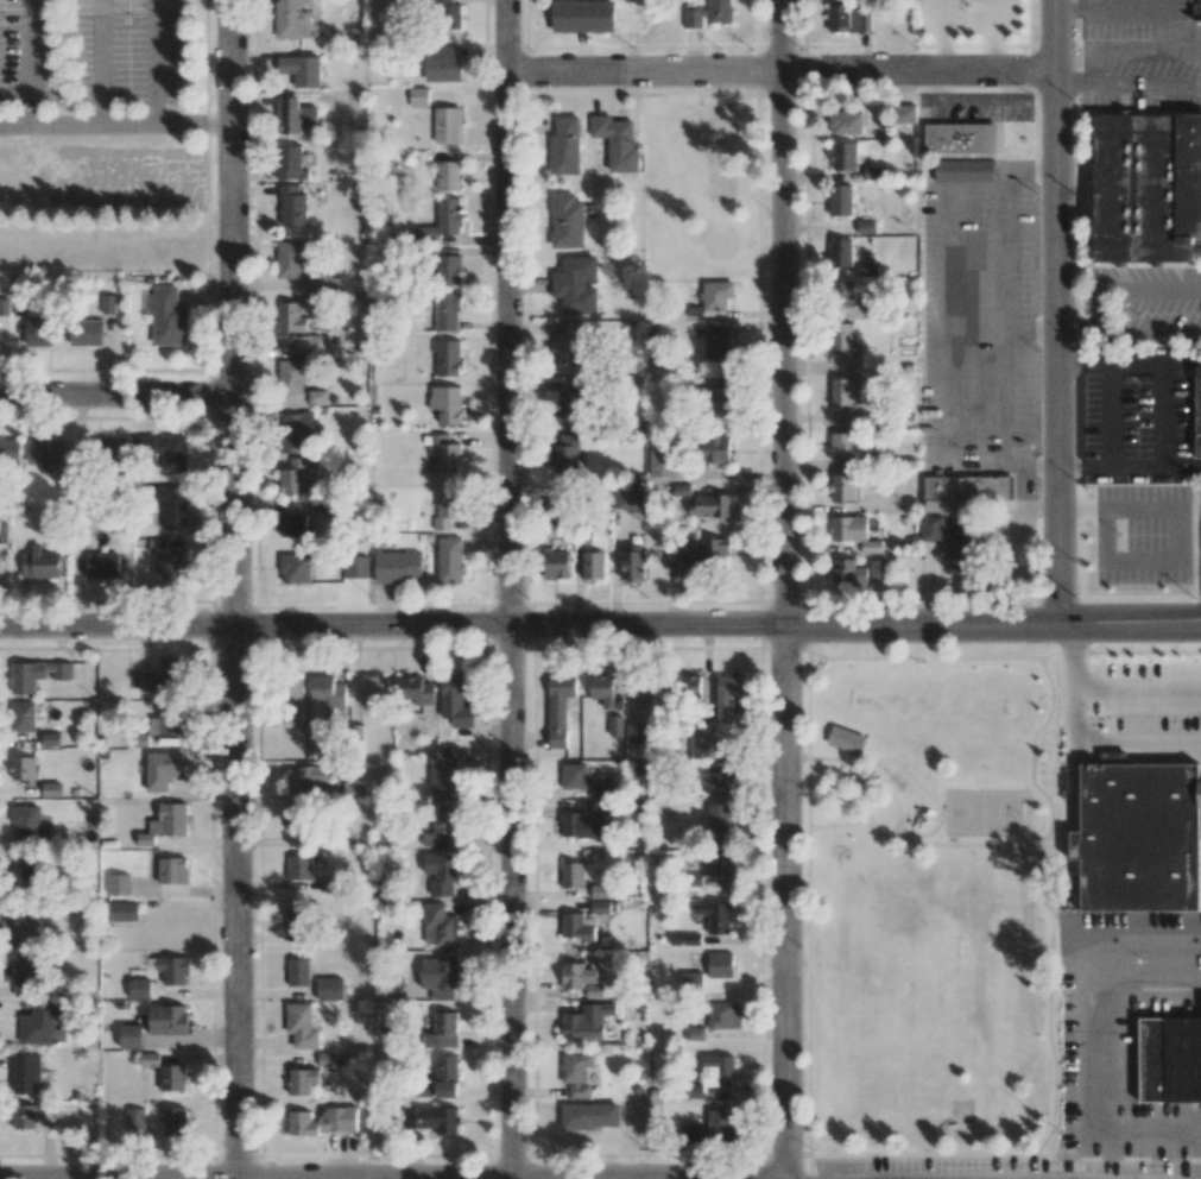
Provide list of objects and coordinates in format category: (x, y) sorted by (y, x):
road: (1117, 10)
building: (1196, 11)
building: (448, 14)
building: (709, 14)
building: (583, 17)
building: (293, 18)
building: (847, 18)
road: (1170, 30)
road: (943, 34)
road: (991, 34)
parking lot: (127, 50)
road: (1149, 51)
parking lot: (29, 52)
road: (30, 62)
road: (100, 62)
road: (156, 62)
building: (442, 64)
building: (302, 70)
road: (778, 70)
road: (1089, 83)
road: (1148, 83)
building: (418, 96)
building: (904, 114)
building: (293, 115)
building: (846, 122)
road: (116, 124)
building: (447, 125)
building: (962, 138)
building: (617, 141)
building: (565, 146)
building: (843, 156)
building: (291, 163)
road: (1030, 168)
building: (967, 171)
building: (874, 172)
building: (448, 176)
building: (1149, 185)
building: (840, 200)
building: (292, 206)
building: (442, 221)
building: (567, 221)
building: (865, 226)
building: (840, 252)
building: (289, 260)
building: (868, 269)
building: (448, 270)
building: (576, 284)
building: (324, 285)
road: (1127, 289)
building: (843, 294)
building: (716, 295)
building: (107, 303)
road: (234, 311)
building: (447, 311)
road: (506, 311)
road: (1056, 311)
building: (167, 316)
building: (290, 317)
road: (1006, 317)
road: (948, 326)
road: (1031, 332)
road: (1077, 332)
road: (1149, 332)
building: (38, 333)
building: (86, 333)
building: (565, 341)
building: (716, 341)
building: (304, 343)
building: (845, 346)
building: (447, 357)
road: (1155, 360)
road: (1083, 361)
building: (293, 376)
building: (317, 397)
road: (116, 398)
building: (570, 399)
building: (848, 399)
building: (719, 401)
building: (445, 404)
building: (1197, 409)
road: (1111, 414)
building: (298, 433)
road: (1167, 441)
building: (114, 448)
building: (848, 448)
building: (164, 449)
building: (715, 449)
building: (10, 450)
building: (44, 452)
building: (447, 453)
building: (567, 453)
building: (662, 464)
road: (1184, 466)
road: (1031, 467)
road: (1085, 467)
building: (298, 478)
building: (67, 481)
building: (841, 486)
building: (966, 487)
building: (682, 490)
building: (628, 499)
building: (710, 505)
building: (172, 507)
road: (1082, 509)
building: (447, 510)
building: (293, 525)
building: (2, 532)
building: (854, 532)
building: (952, 538)
building: (714, 551)
building: (676, 554)
building: (450, 559)
road: (1176, 559)
building: (166, 561)
building: (631, 561)
building: (39, 563)
building: (102, 565)
building: (555, 565)
building: (593, 565)
building: (355, 567)
building: (397, 567)
building: (295, 568)
building: (877, 569)
building: (848, 573)
building: (877, 586)
road: (783, 589)
road: (600, 623)
building: (36, 675)
building: (164, 676)
building: (296, 687)
building: (689, 688)
building: (602, 689)
building: (371, 691)
building: (415, 692)
building: (328, 693)
building: (643, 693)
building: (727, 695)
building: (455, 700)
building: (558, 708)
building: (741, 713)
building: (291, 715)
building: (21, 717)
building: (172, 720)
building: (615, 725)
building: (636, 733)
building: (51, 739)
building: (845, 739)
building: (701, 748)
building: (23, 769)
building: (162, 769)
building: (573, 776)
building: (716, 778)
building: (306, 780)
building: (442, 781)
building: (51, 789)
building: (599, 809)
park: (981, 811)
building: (298, 818)
building: (26, 820)
building: (165, 824)
building: (720, 825)
building: (581, 826)
building: (441, 828)
building: (1137, 838)
building: (299, 866)
building: (172, 870)
building: (23, 874)
building: (441, 874)
building: (573, 875)
building: (119, 884)
building: (600, 891)
park: (922, 900)
road: (234, 901)
road: (511, 901)
building: (600, 907)
building: (122, 912)
building: (715, 916)
building: (297, 920)
building: (24, 921)
building: (438, 925)
building: (577, 926)
building: (720, 965)
building: (173, 970)
building: (298, 972)
building: (25, 975)
building: (576, 976)
building: (438, 977)
building: (691, 983)
building: (393, 988)
building: (139, 989)
building: (329, 989)
building: (723, 1016)
building: (167, 1020)
building: (587, 1021)
building: (43, 1022)
building: (301, 1027)
building: (443, 1030)
building: (694, 1033)
building: (131, 1036)
building: (325, 1058)
building: (1171, 1060)
building: (718, 1070)
building: (26, 1072)
building: (576, 1073)
building: (445, 1076)
building: (172, 1077)
building: (302, 1080)
building: (424, 1090)
building: (696, 1091)
building: (24, 1116)
building: (589, 1116)
building: (434, 1120)
building: (135, 1121)
building: (175, 1121)
building: (324, 1122)
building: (720, 1126)

